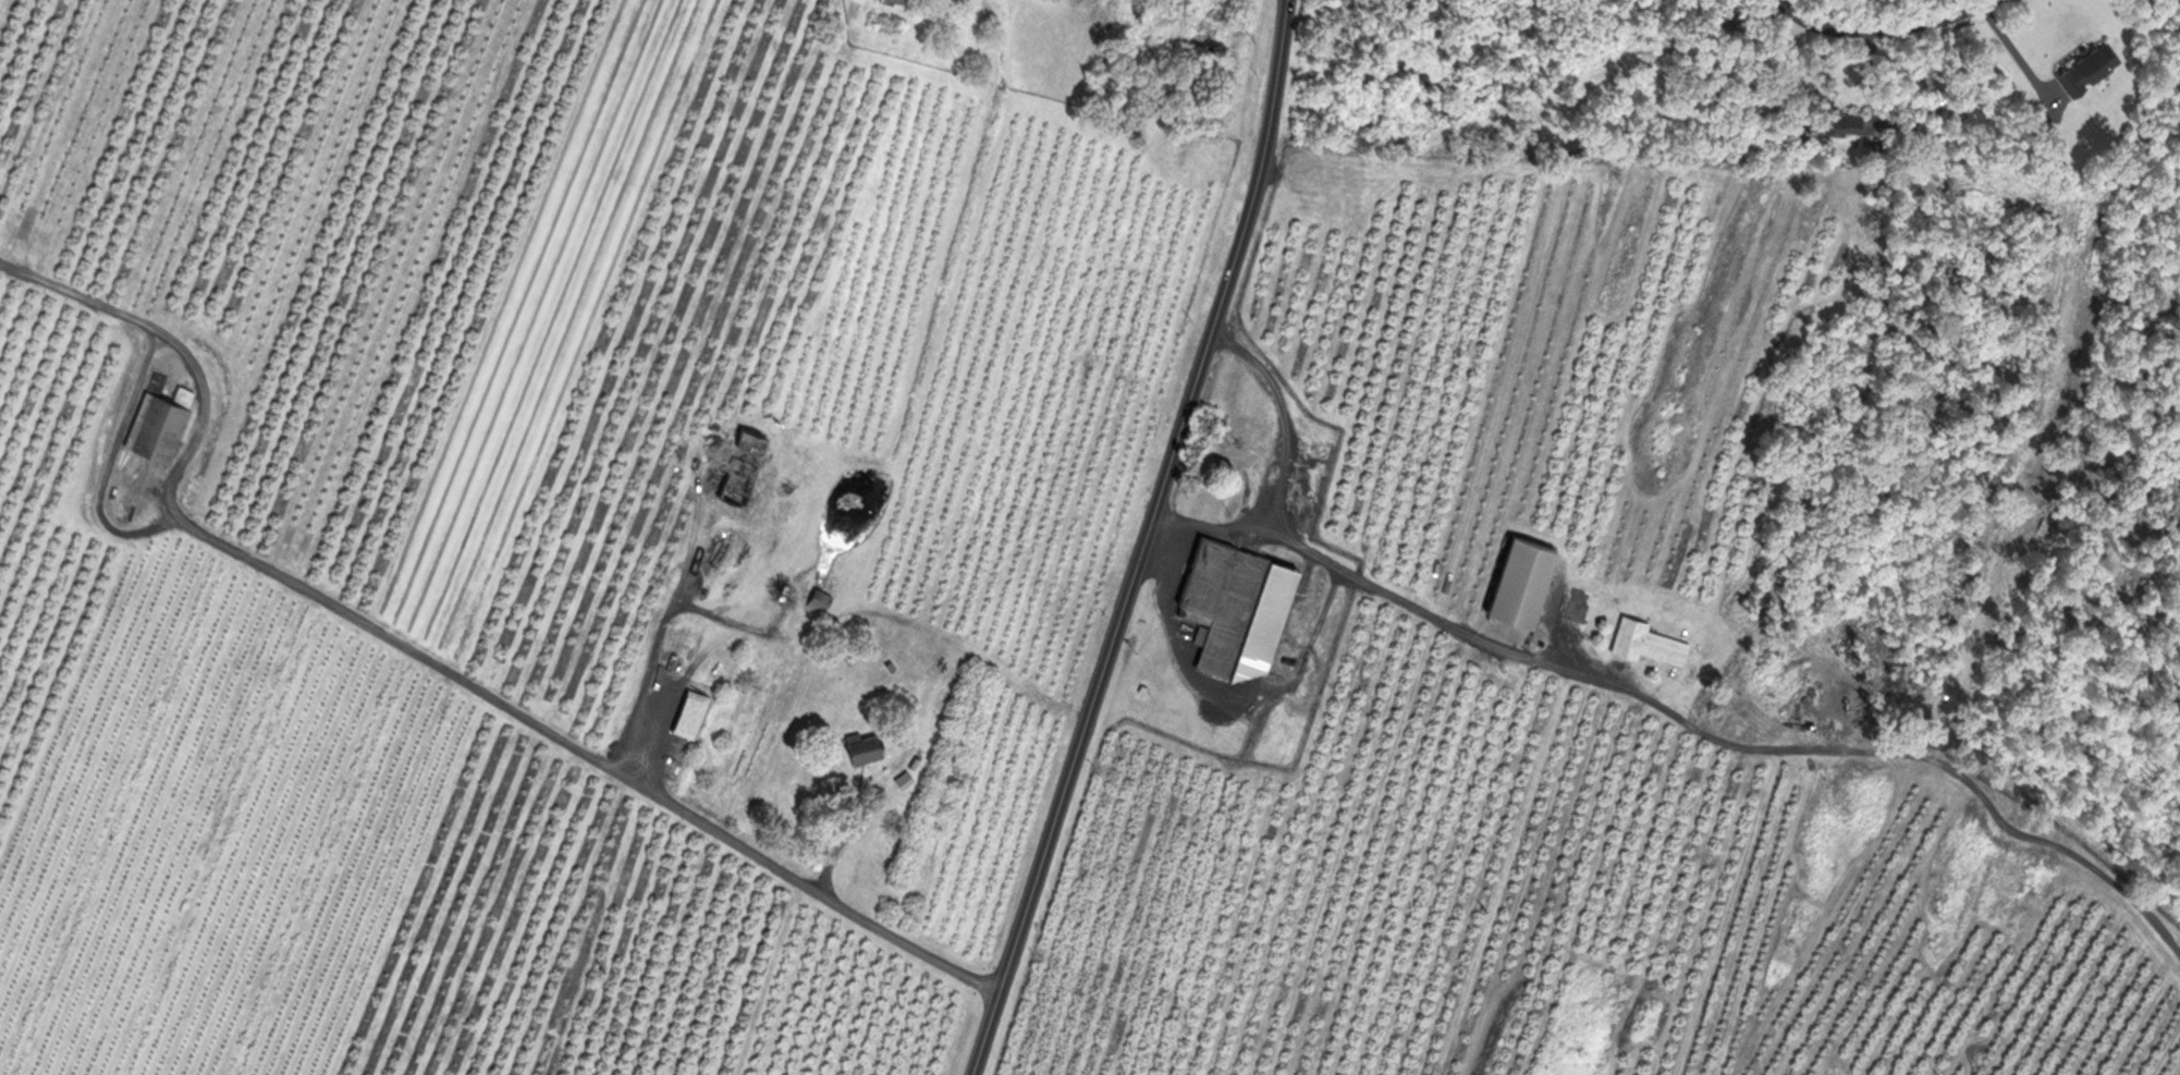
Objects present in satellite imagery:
building: (902, 2)
building: (918, 4)
road: (1875, 26)
building: (2085, 64)
building: (1833, 118)
road: (1287, 417)
building: (167, 423)
building: (1226, 442)
building: (750, 465)
road: (1143, 541)
building: (1517, 579)
building: (820, 600)
building: (1229, 603)
building: (1645, 640)
road: (420, 653)
road: (652, 667)
road: (1683, 718)
building: (864, 746)

